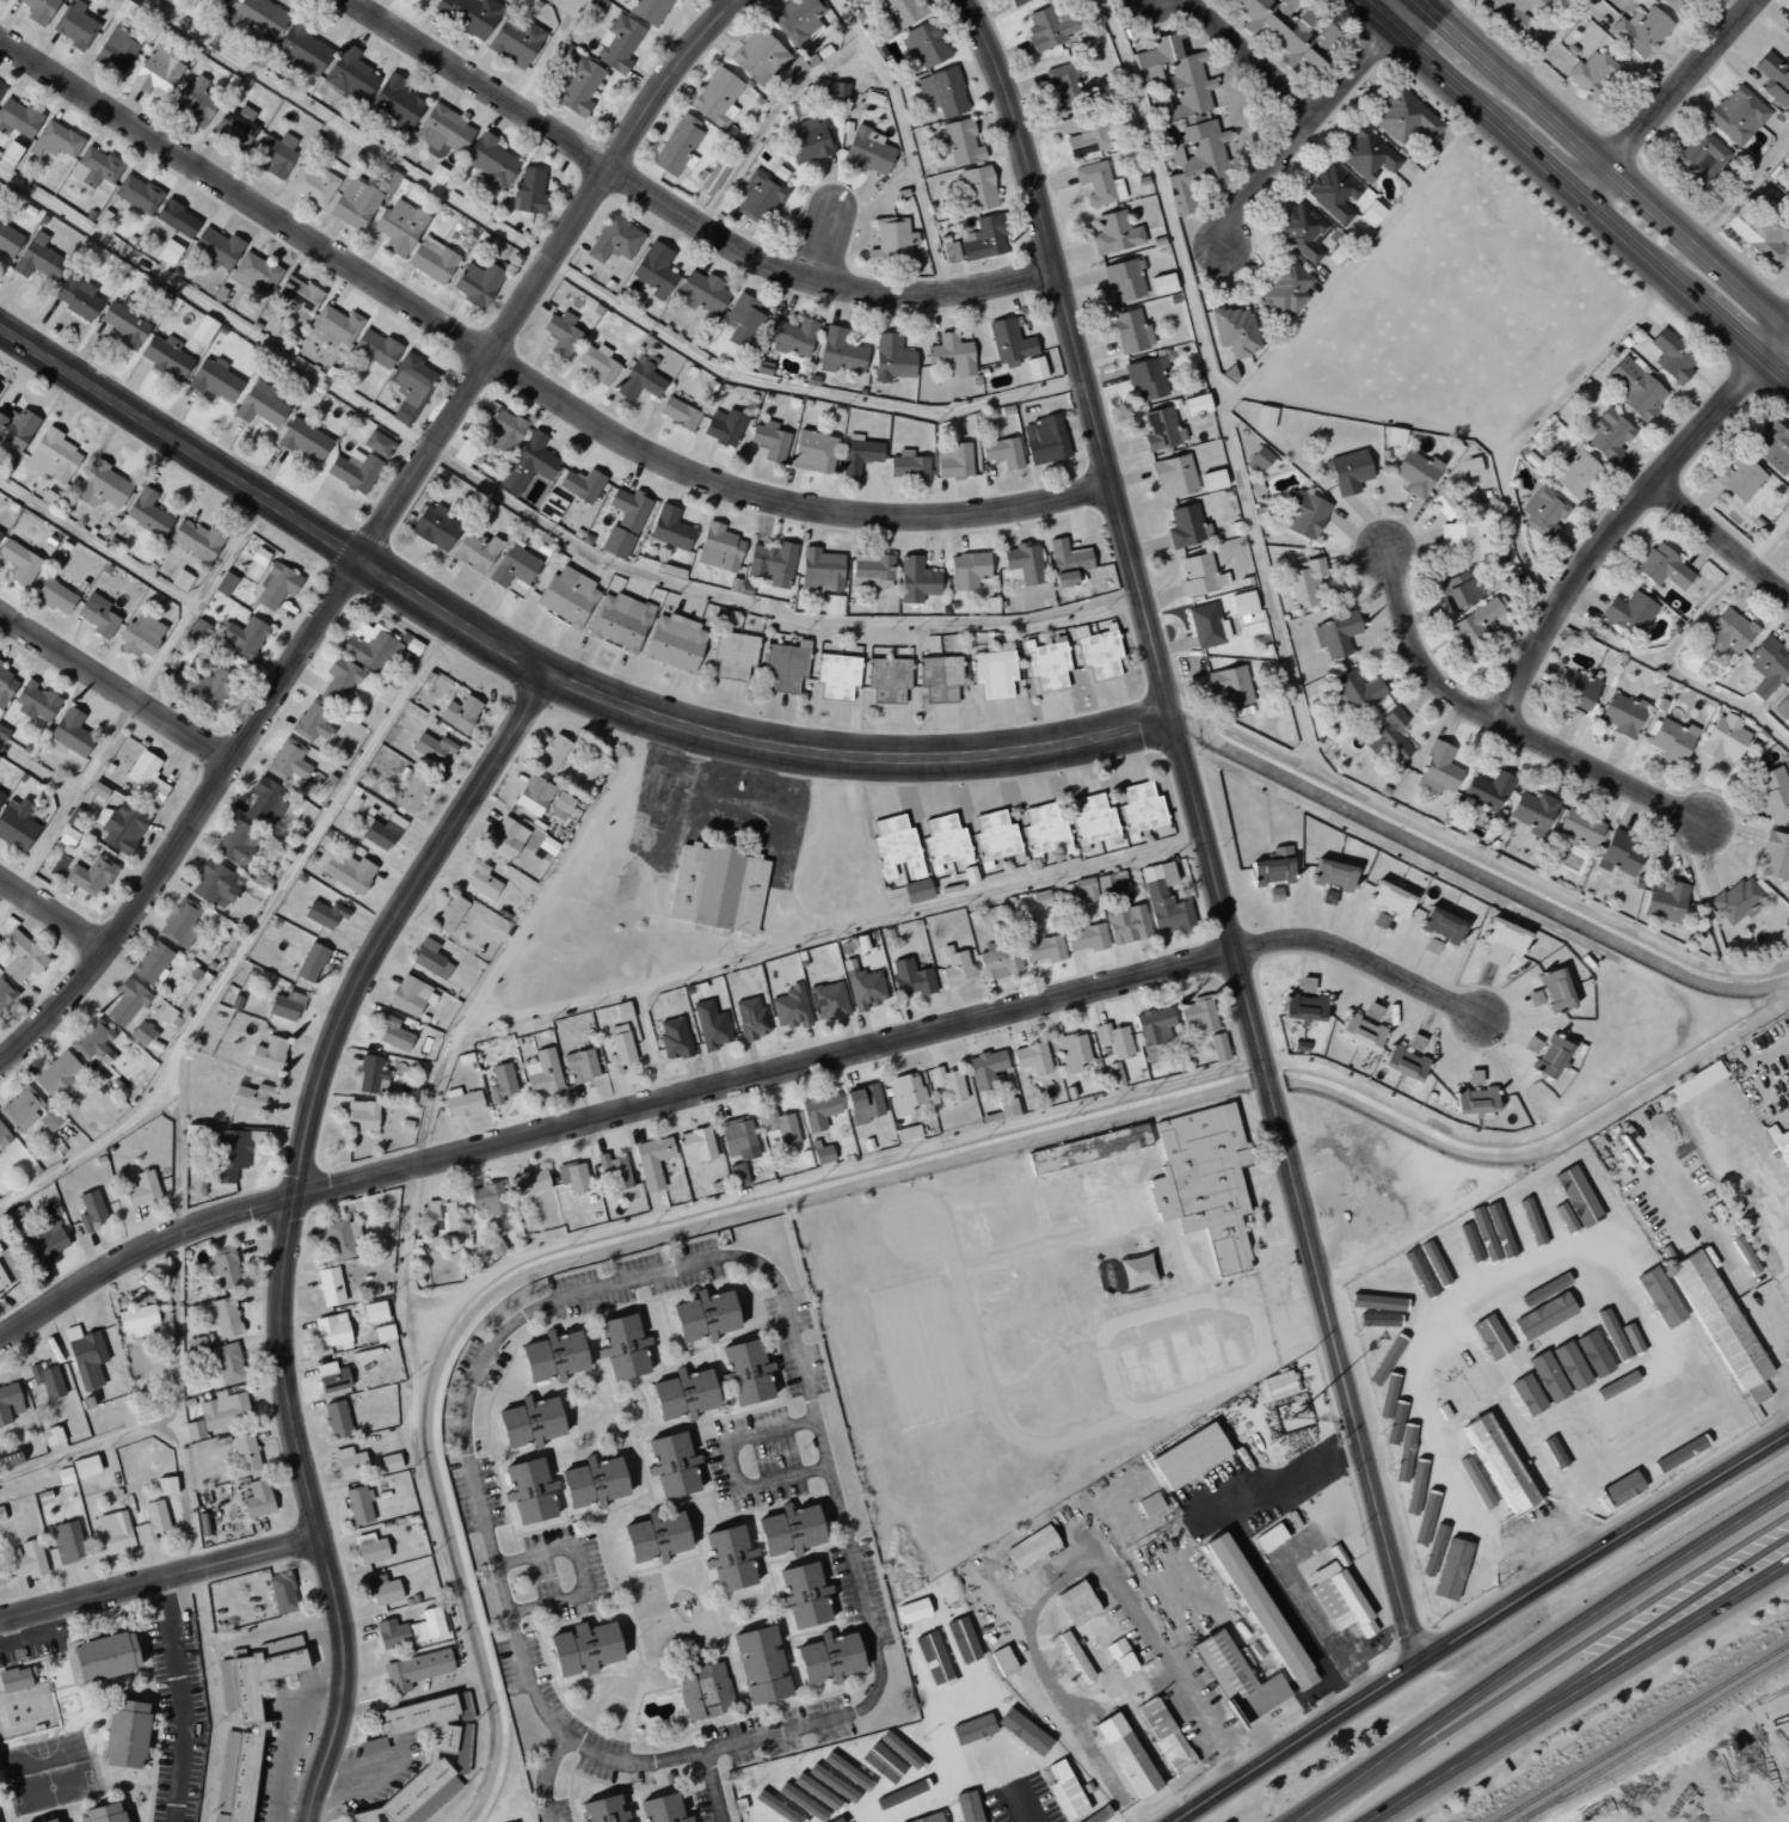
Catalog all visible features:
building: (1, 0)
building: (1016, 1)
building: (220, 2)
building: (1674, 5)
road: (1412, 8)
building: (38, 10)
building: (122, 10)
building: (650, 11)
building: (902, 11)
building: (1510, 11)
road: (1398, 12)
building: (469, 14)
building: (259, 17)
building: (798, 20)
building: (74, 25)
building: (1049, 27)
building: (1785, 30)
building: (1289, 31)
building: (1640, 31)
building: (515, 41)
road: (1544, 42)
building: (619, 43)
building: (926, 44)
building: (117, 48)
building: (301, 50)
road: (1244, 54)
building: (760, 56)
building: (156, 72)
building: (350, 74)
building: (1593, 74)
building: (1065, 79)
building: (1773, 79)
building: (578, 86)
building: (0, 90)
building: (943, 91)
road: (1665, 96)
building: (717, 97)
building: (196, 102)
building: (394, 104)
building: (1187, 111)
building: (1736, 115)
building: (18, 117)
building: (1404, 117)
road: (768, 121)
building: (235, 124)
road: (1305, 125)
building: (443, 129)
road: (902, 139)
building: (1088, 139)
building: (54, 140)
building: (807, 141)
building: (961, 142)
building: (678, 145)
building: (867, 151)
building: (8, 153)
building: (276, 154)
building: (1366, 154)
building: (1703, 154)
building: (491, 161)
building: (94, 167)
road: (1604, 168)
building: (437, 173)
building: (712, 177)
building: (387, 180)
building: (1099, 183)
building: (313, 185)
building: (978, 188)
building: (529, 190)
building: (137, 194)
building: (1334, 194)
building: (760, 196)
building: (355, 203)
road: (1727, 203)
road: (1593, 207)
road: (682, 211)
building: (1371, 213)
building: (177, 217)
building: (399, 226)
building: (1302, 231)
building: (1115, 233)
building: (7, 237)
building: (984, 238)
building: (1762, 238)
building: (614, 239)
building: (890, 241)
building: (216, 247)
building: (948, 249)
building: (168, 252)
building: (37, 257)
building: (431, 259)
building: (654, 268)
building: (253, 272)
building: (1125, 278)
building: (478, 284)
building: (1286, 288)
building: (702, 292)
building: (299, 293)
building: (156, 295)
building: (78, 296)
building: (743, 320)
building: (122, 324)
building: (334, 327)
building: (203, 330)
building: (1131, 331)
building: (1235, 331)
building: (561, 333)
building: (791, 336)
building: (1009, 342)
building: (376, 348)
building: (840, 351)
building: (951, 355)
building: (166, 356)
building: (1672, 356)
building: (891, 358)
building: (597, 363)
building: (1035, 368)
road: (524, 378)
building: (640, 378)
building: (1146, 378)
building: (214, 379)
building: (411, 387)
building: (1635, 388)
building: (259, 404)
building: (1195, 404)
building: (680, 413)
building: (1264, 417)
building: (724, 427)
building: (17, 429)
building: (1162, 429)
building: (504, 430)
building: (1609, 434)
building: (1045, 438)
building: (303, 440)
building: (770, 441)
building: (377, 443)
building: (1772, 448)
building: (813, 452)
building: (1002, 452)
building: (859, 453)
building: (51, 456)
building: (1262, 460)
building: (954, 461)
building: (529, 462)
building: (908, 465)
building: (354, 470)
building: (1348, 471)
building: (1416, 473)
building: (1576, 473)
building: (1174, 474)
building: (1739, 478)
building: (1212, 479)
building: (582, 484)
building: (100, 485)
building: (1444, 503)
building: (549, 507)
building: (1542, 511)
road: (1627, 513)
building: (146, 514)
building: (1307, 514)
building: (623, 522)
building: (435, 527)
building: (670, 527)
building: (1187, 527)
building: (0, 532)
road: (374, 535)
road: (1722, 535)
building: (1787, 535)
building: (195, 539)
building: (1463, 541)
building: (719, 548)
building: (475, 552)
building: (19, 562)
building: (1068, 563)
building: (771, 564)
building: (1022, 565)
building: (514, 566)
building: (1664, 568)
building: (967, 570)
building: (872, 571)
building: (820, 572)
building: (1200, 575)
building: (180, 579)
building: (916, 579)
building: (1305, 582)
building: (225, 583)
building: (276, 585)
building: (1457, 590)
building: (54, 596)
building: (567, 596)
building: (832, 605)
building: (1243, 606)
building: (1629, 613)
building: (97, 615)
building: (619, 620)
building: (1474, 624)
building: (1207, 625)
building: (198, 630)
building: (1728, 631)
building: (1335, 634)
building: (140, 636)
building: (241, 636)
building: (674, 643)
building: (1188, 643)
building: (370, 646)
building: (1098, 651)
building: (733, 655)
building: (1687, 661)
building: (1046, 664)
building: (785, 665)
building: (1768, 665)
building: (994, 671)
road: (543, 673)
building: (837, 675)
building: (940, 677)
building: (889, 679)
building: (339, 680)
building: (6, 685)
building: (205, 686)
road: (115, 687)
building: (1231, 687)
building: (1358, 691)
building: (1579, 691)
building: (35, 700)
building: (1782, 705)
building: (460, 712)
building: (1622, 713)
building: (312, 722)
road: (1505, 725)
building: (2, 734)
building: (69, 734)
building: (1389, 735)
building: (1725, 737)
building: (1672, 740)
building: (431, 747)
building: (551, 753)
building: (288, 763)
building: (1438, 769)
building: (146, 777)
building: (1771, 786)
building: (1488, 791)
building: (412, 795)
building: (0, 796)
building: (533, 796)
building: (265, 802)
building: (560, 806)
building: (1533, 812)
building: (1093, 822)
building: (16, 824)
building: (121, 827)
road: (1201, 827)
building: (1580, 827)
building: (1043, 830)
building: (382, 832)
building: (66, 836)
building: (505, 838)
building: (995, 838)
building: (943, 842)
building: (235, 843)
building: (547, 846)
building: (895, 847)
building: (1618, 854)
building: (1775, 855)
building: (1273, 867)
building: (348, 872)
building: (1332, 875)
building: (91, 876)
building: (481, 879)
building: (1112, 883)
building: (213, 884)
building: (1084, 887)
building: (717, 889)
building: (917, 891)
building: (1328, 897)
building: (1163, 898)
building: (1389, 898)
building: (1736, 900)
road: (8, 901)
building: (1665, 901)
building: (324, 912)
road: (53, 914)
building: (449, 914)
building: (1379, 920)
building: (180, 922)
building: (1127, 924)
building: (1441, 925)
road: (248, 935)
building: (1087, 938)
building: (1501, 941)
building: (1432, 945)
building: (1043, 949)
building: (20, 957)
building: (430, 958)
building: (998, 961)
building: (152, 962)
building: (311, 963)
building: (954, 967)
building: (911, 977)
building: (866, 988)
building: (1555, 988)
building: (5, 994)
building: (411, 996)
building: (1535, 996)
building: (828, 1001)
building: (128, 1002)
building: (285, 1006)
building: (789, 1007)
building: (1304, 1007)
building: (622, 1012)
building: (1198, 1013)
building: (751, 1018)
building: (711, 1024)
building: (1154, 1025)
building: (1360, 1031)
building: (142, 1032)
building: (393, 1033)
building: (674, 1038)
building: (92, 1043)
building: (1113, 1047)
building: (1218, 1047)
building: (619, 1049)
building: (1071, 1050)
building: (268, 1054)
building: (1550, 1056)
building: (1032, 1057)
building: (1404, 1062)
building: (580, 1066)
building: (986, 1069)
building: (542, 1072)
building: (56, 1075)
building: (371, 1075)
building: (1397, 1076)
building: (500, 1082)
building: (1693, 1082)
road: (731, 1084)
building: (949, 1084)
building: (904, 1092)
building: (251, 1097)
building: (1475, 1099)
building: (461, 1103)
building: (863, 1103)
building: (1007, 1108)
building: (21, 1109)
building: (819, 1110)
building: (1476, 1115)
building: (361, 1116)
building: (50, 1119)
building: (779, 1125)
building: (193, 1131)
building: (906, 1133)
building: (4, 1135)
building: (738, 1137)
building: (1782, 1141)
building: (695, 1146)
building: (1088, 1147)
road: (176, 1149)
building: (228, 1152)
building: (822, 1154)
building: (652, 1160)
building: (615, 1170)
building: (573, 1177)
building: (1204, 1179)
building: (528, 1182)
building: (141, 1190)
building: (1596, 1192)
building: (487, 1198)
building: (1535, 1201)
building: (91, 1209)
building: (1494, 1209)
building: (439, 1214)
road: (291, 1222)
building: (340, 1238)
building: (45, 1241)
building: (225, 1266)
road: (659, 1271)
building: (6, 1274)
building: (330, 1286)
building: (1660, 1296)
building: (374, 1311)
building: (1545, 1314)
building: (703, 1315)
building: (226, 1317)
building: (1717, 1319)
building: (136, 1320)
building: (332, 1330)
building: (383, 1332)
building: (621, 1346)
building: (1596, 1348)
building: (552, 1355)
building: (85, 1356)
building: (1699, 1360)
building: (226, 1363)
building: (1557, 1369)
building: (744, 1372)
building: (331, 1376)
building: (63, 1378)
building: (49, 1382)
building: (1279, 1384)
building: (1756, 1392)
building: (1526, 1393)
building: (682, 1394)
building: (8, 1403)
building: (223, 1410)
building: (337, 1418)
road: (176, 1422)
building: (529, 1422)
building: (193, 1429)
building: (245, 1453)
building: (1188, 1455)
building: (8, 1459)
building: (349, 1462)
building: (389, 1462)
building: (1498, 1462)
building: (85, 1466)
building: (63, 1476)
building: (591, 1481)
building: (165, 1485)
building: (528, 1491)
road: (184, 1496)
building: (257, 1498)
building: (358, 1504)
building: (150, 1522)
road: (1782, 1528)
building: (788, 1530)
building: (111, 1533)
building: (656, 1536)
building: (1269, 1538)
building: (67, 1541)
building: (1029, 1547)
building: (370, 1548)
building: (727, 1558)
building: (26, 1559)
building: (1451, 1570)
road: (159, 1577)
building: (374, 1579)
road: (1701, 1581)
building: (282, 1593)
building: (385, 1593)
building: (804, 1594)
building: (1336, 1595)
building: (1077, 1602)
building: (912, 1611)
building: (1259, 1611)
road: (1478, 1622)
building: (426, 1625)
building: (391, 1633)
building: (582, 1649)
road: (1539, 1650)
building: (104, 1656)
building: (1120, 1656)
building: (826, 1658)
building: (1002, 1660)
building: (760, 1664)
building: (414, 1669)
building: (14, 1679)
building: (1236, 1679)
road: (1576, 1689)
building: (703, 1691)
road: (1549, 1697)
road: (177, 1699)
building: (247, 1717)
road: (1462, 1723)
building: (972, 1729)
railway: (1641, 1731)
building: (1023, 1734)
building: (124, 1735)
building: (1164, 1735)
railway: (1653, 1738)
railway: (1664, 1744)
building: (373, 1746)
building: (447, 1749)
building: (885, 1752)
building: (1125, 1755)
building: (861, 1761)
building: (838, 1775)
road: (548, 1778)
building: (810, 1787)
road: (714, 1790)
building: (1064, 1791)
building: (786, 1802)
building: (967, 1806)
building: (662, 1809)
building: (601, 1810)
building: (103, 1814)
building: (928, 1817)
building: (50, 1820)
building: (763, 1821)

